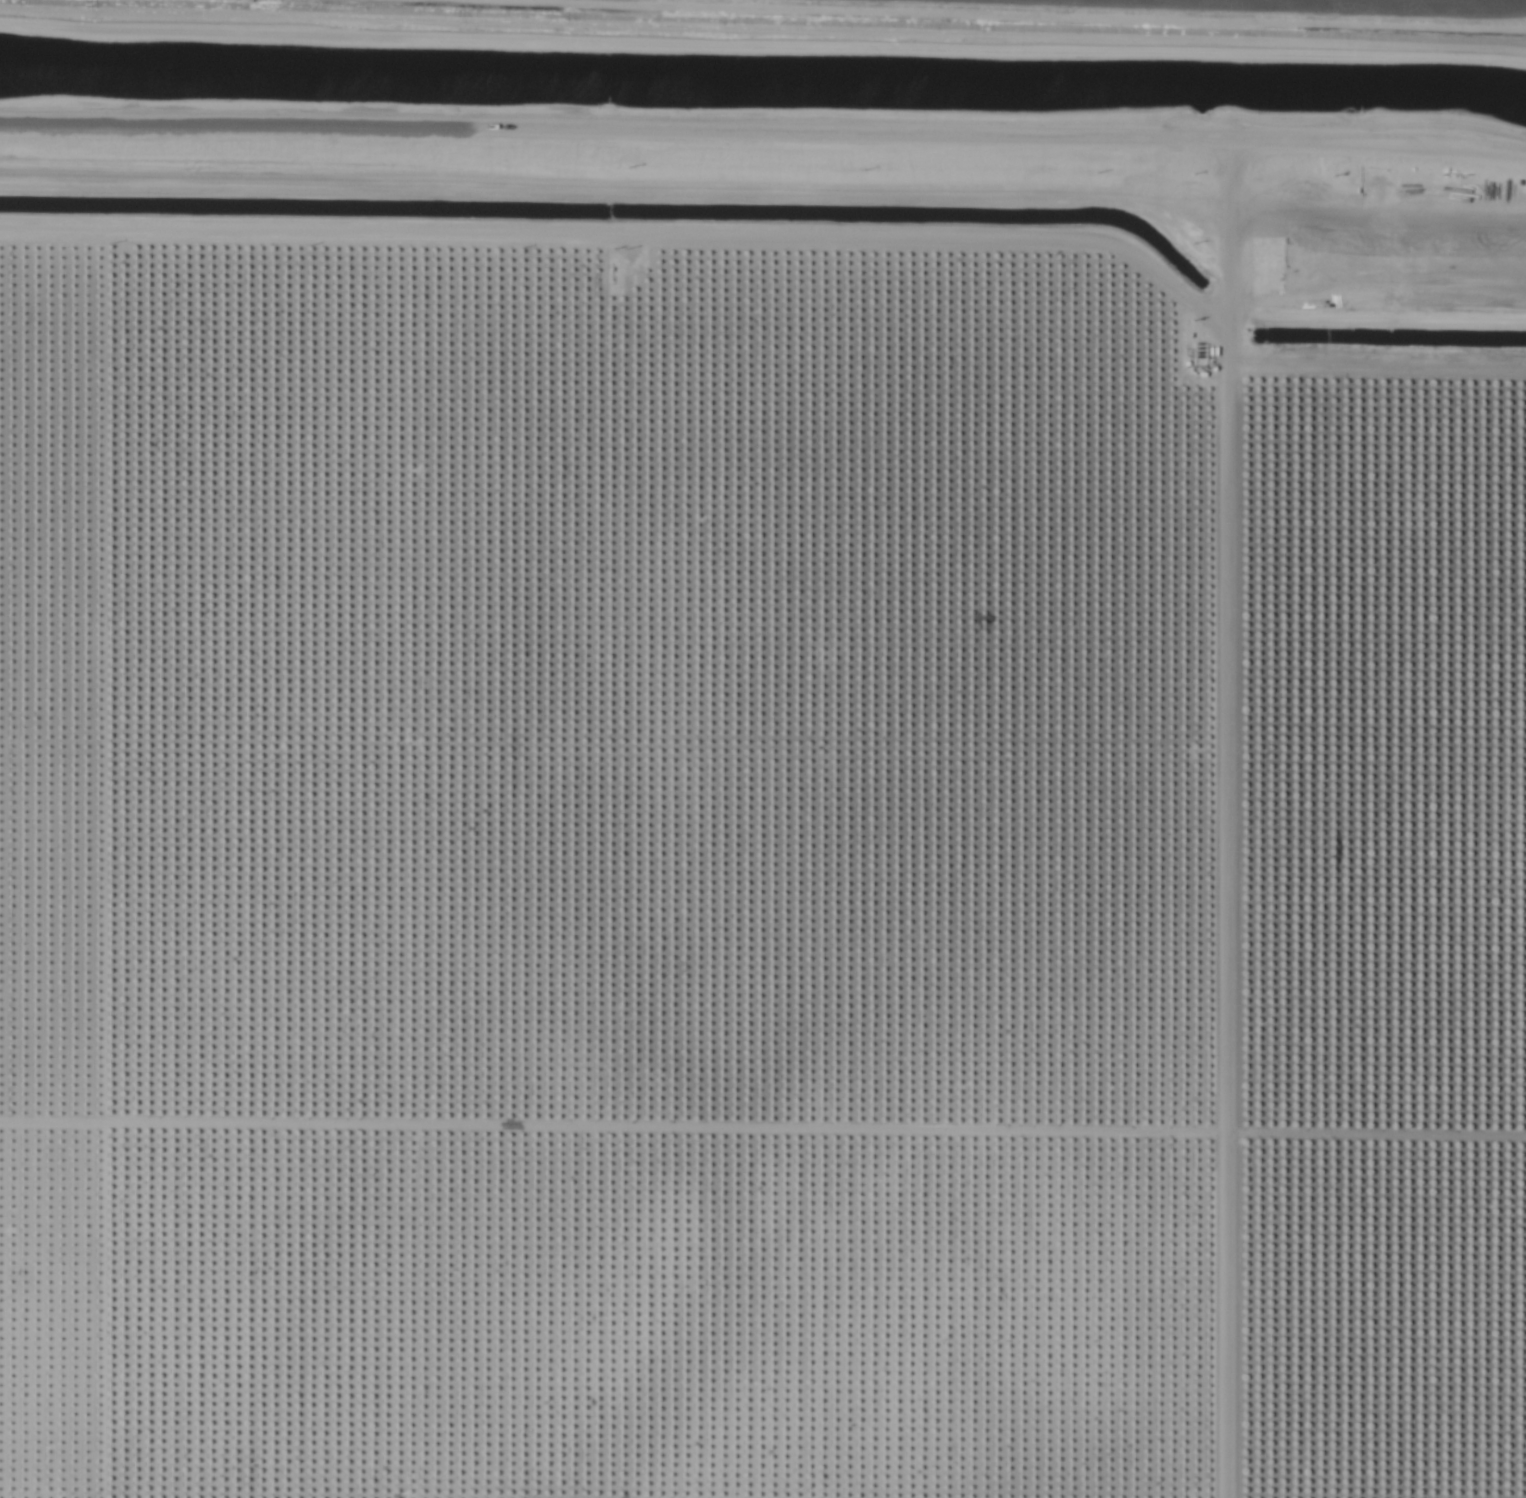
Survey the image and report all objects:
road: (1228, 202)
road: (632, 230)
crop: (763, 749)

